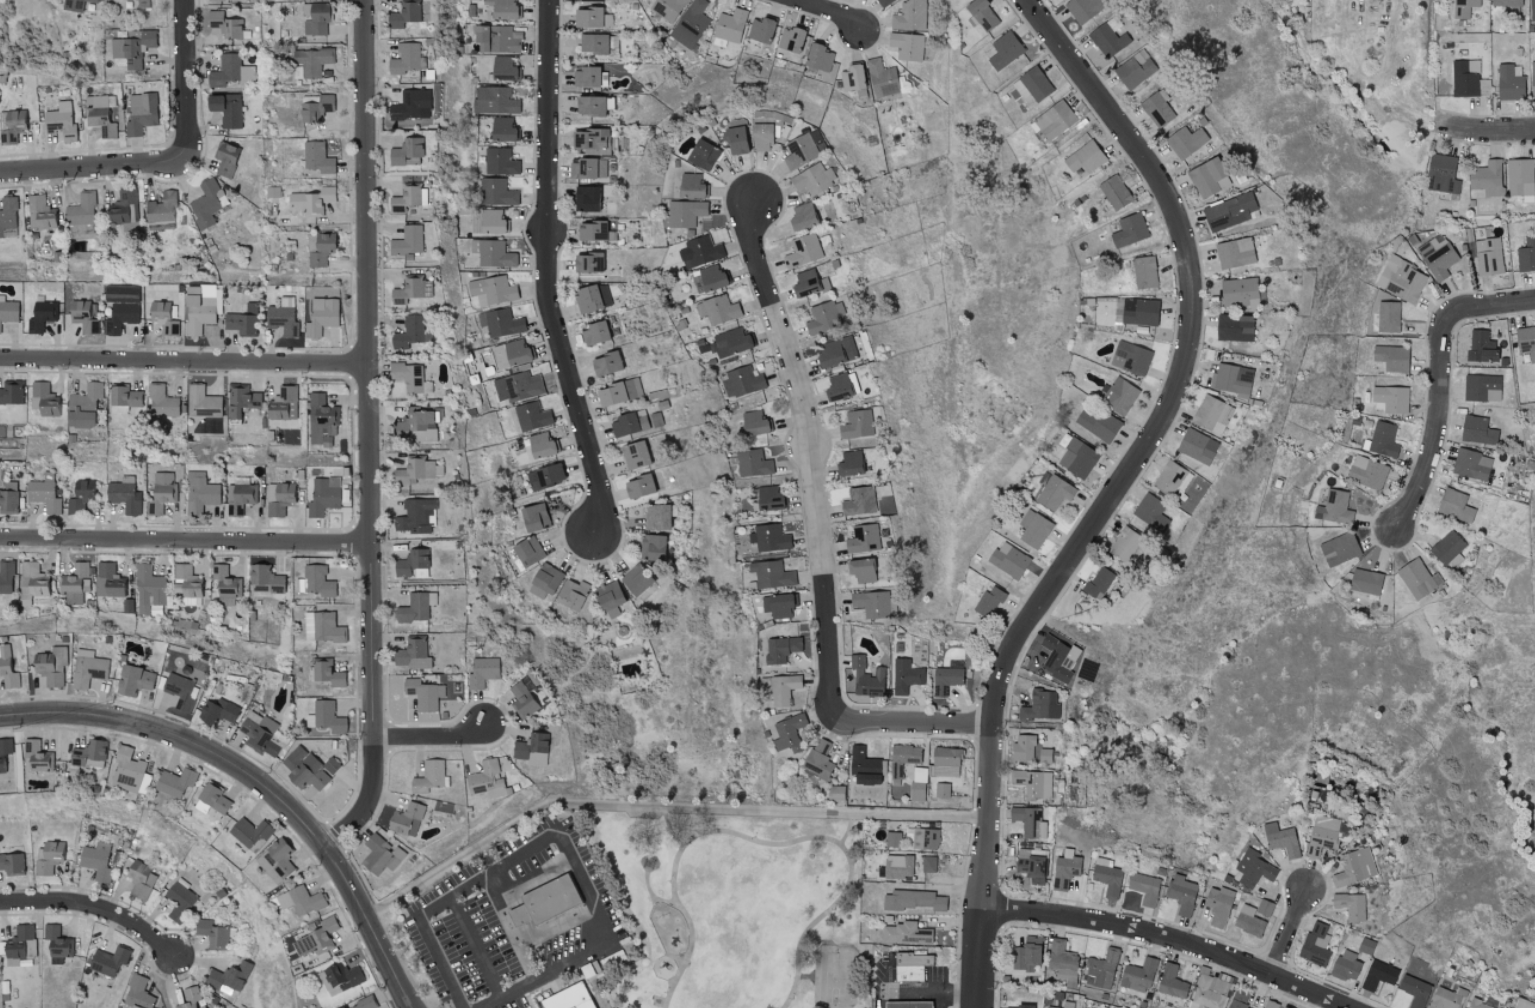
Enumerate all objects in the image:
building: (142, 3)
building: (884, 3)
building: (1506, 3)
building: (76, 4)
building: (668, 8)
building: (1464, 8)
building: (504, 9)
building: (1081, 9)
building: (1531, 11)
road: (827, 12)
building: (404, 14)
building: (980, 14)
building: (910, 16)
building: (315, 19)
building: (591, 19)
building: (690, 24)
building: (226, 25)
building: (730, 26)
building: (760, 31)
building: (497, 39)
building: (790, 40)
building: (1108, 40)
building: (592, 45)
building: (907, 46)
building: (1005, 50)
building: (818, 58)
building: (408, 60)
building: (312, 61)
building: (505, 69)
building: (1135, 70)
building: (231, 71)
road: (184, 77)
building: (590, 78)
building: (851, 78)
building: (882, 79)
building: (1532, 79)
building: (1467, 82)
building: (1509, 82)
building: (1033, 85)
building: (495, 101)
building: (411, 106)
building: (589, 106)
building: (314, 108)
building: (226, 109)
building: (1157, 110)
building: (141, 113)
building: (101, 114)
building: (60, 120)
building: (1054, 120)
building: (10, 125)
building: (503, 130)
road: (1492, 130)
building: (761, 138)
building: (591, 141)
building: (1186, 142)
building: (801, 151)
building: (407, 152)
building: (702, 155)
building: (317, 157)
building: (1085, 158)
building: (225, 159)
building: (501, 162)
building: (588, 169)
road: (95, 170)
building: (1441, 174)
building: (1205, 176)
building: (1486, 177)
building: (1520, 178)
building: (814, 179)
building: (692, 186)
building: (1114, 191)
building: (497, 192)
building: (407, 197)
building: (586, 199)
building: (311, 200)
building: (207, 202)
building: (123, 207)
building: (160, 207)
building: (82, 209)
building: (39, 211)
building: (1229, 211)
building: (683, 214)
building: (802, 216)
building: (8, 217)
building: (491, 221)
building: (593, 230)
building: (1129, 230)
building: (408, 241)
building: (319, 248)
building: (703, 249)
building: (802, 250)
building: (490, 252)
building: (1526, 254)
building: (1437, 256)
building: (1489, 256)
building: (586, 261)
building: (1144, 272)
road: (546, 273)
building: (712, 277)
building: (1402, 280)
building: (808, 283)
building: (412, 289)
building: (492, 290)
building: (1237, 291)
building: (591, 297)
building: (79, 308)
building: (199, 308)
building: (717, 309)
building: (8, 310)
building: (1139, 311)
building: (41, 315)
building: (121, 316)
building: (322, 316)
building: (1388, 316)
building: (284, 317)
building: (825, 317)
building: (163, 318)
building: (243, 321)
building: (500, 322)
building: (1233, 327)
building: (411, 331)
building: (594, 332)
building: (732, 341)
building: (1526, 341)
building: (1480, 346)
building: (836, 351)
building: (512, 353)
building: (1130, 357)
building: (1391, 357)
building: (604, 362)
road: (185, 364)
building: (408, 375)
building: (1231, 378)
building: (742, 381)
road: (1440, 383)
building: (517, 386)
building: (838, 387)
building: (1479, 387)
building: (616, 391)
building: (11, 392)
building: (1119, 395)
building: (1392, 398)
building: (241, 399)
building: (44, 400)
building: (125, 400)
building: (202, 401)
building: (162, 402)
building: (283, 404)
building: (83, 406)
building: (1212, 414)
building: (531, 415)
building: (322, 419)
building: (421, 423)
building: (754, 423)
building: (624, 424)
building: (857, 424)
building: (1098, 424)
building: (1477, 429)
road: (371, 435)
building: (1383, 439)
building: (540, 445)
building: (1197, 445)
road: (812, 451)
building: (635, 454)
building: (1076, 456)
building: (753, 463)
building: (851, 463)
building: (1471, 464)
building: (416, 470)
building: (1367, 472)
building: (544, 476)
building: (1168, 477)
road: (1119, 485)
building: (638, 486)
building: (162, 492)
building: (44, 493)
building: (1054, 493)
building: (125, 495)
building: (202, 495)
building: (323, 495)
building: (80, 496)
building: (9, 497)
building: (279, 497)
building: (769, 497)
building: (859, 501)
building: (1454, 505)
building: (1334, 507)
building: (1151, 512)
building: (416, 516)
building: (657, 516)
building: (534, 517)
building: (1034, 528)
building: (770, 538)
building: (864, 539)
road: (186, 544)
building: (1125, 544)
building: (652, 546)
building: (1447, 547)
building: (1339, 548)
building: (527, 550)
building: (1008, 560)
building: (861, 569)
building: (772, 574)
building: (6, 576)
building: (545, 577)
building: (266, 578)
building: (1416, 578)
building: (32, 580)
building: (107, 580)
building: (635, 580)
building: (1365, 581)
building: (314, 582)
building: (1099, 582)
building: (76, 583)
building: (187, 584)
building: (225, 586)
building: (149, 589)
building: (571, 594)
building: (609, 599)
building: (988, 601)
building: (875, 603)
building: (777, 605)
building: (416, 607)
building: (323, 627)
building: (782, 648)
building: (412, 654)
building: (1059, 658)
building: (51, 665)
building: (8, 668)
building: (88, 668)
building: (482, 672)
building: (328, 673)
building: (905, 676)
building: (866, 678)
building: (134, 679)
building: (945, 680)
building: (784, 688)
building: (181, 691)
building: (423, 694)
building: (523, 700)
building: (1041, 705)
building: (218, 711)
building: (328, 717)
road: (914, 724)
building: (789, 732)
building: (259, 733)
road: (434, 738)
building: (1023, 748)
building: (532, 749)
building: (5, 751)
building: (89, 754)
building: (905, 754)
building: (37, 757)
building: (863, 761)
building: (817, 762)
building: (308, 768)
building: (428, 776)
building: (866, 778)
building: (487, 780)
building: (176, 782)
building: (1033, 783)
road: (257, 785)
building: (942, 790)
building: (916, 792)
building: (836, 793)
building: (211, 800)
road: (662, 809)
building: (406, 819)
building: (1029, 821)
building: (249, 832)
road: (560, 833)
building: (1323, 834)
building: (925, 839)
building: (1281, 839)
road: (756, 841)
building: (380, 855)
building: (49, 856)
building: (96, 860)
building: (277, 860)
building: (12, 863)
building: (928, 864)
building: (898, 866)
building: (1355, 867)
building: (1031, 868)
building: (1065, 869)
building: (1253, 869)
building: (1107, 876)
building: (140, 880)
building: (1144, 888)
building: (1182, 893)
building: (179, 899)
building: (299, 900)
building: (914, 900)
building: (550, 903)
building: (1218, 905)
building: (1351, 906)
building: (1265, 907)
park: (734, 909)
road: (96, 910)
building: (1248, 920)
road: (816, 922)
road: (692, 926)
building: (213, 934)
building: (905, 934)
road: (1291, 934)
building: (316, 938)
road: (1168, 942)
building: (57, 943)
building: (1315, 944)
building: (21, 945)
road: (475, 949)
building: (1026, 954)
building: (107, 960)
building: (1063, 962)
building: (1346, 965)
building: (1101, 969)
building: (913, 973)
building: (342, 975)
building: (1138, 975)
building: (226, 978)
park: (835, 978)
road: (886, 978)
building: (1171, 982)
building: (138, 990)
building: (1414, 990)
building: (1210, 991)
road: (926, 993)
building: (191, 998)
building: (574, 998)
building: (1447, 998)
building: (1239, 999)
building: (364, 1003)
building: (1523, 1003)
building: (913, 1004)
building: (1271, 1004)
building: (1478, 1004)
building: (1065, 1005)
building: (132, 1006)
building: (1018, 1006)
building: (340, 1007)

